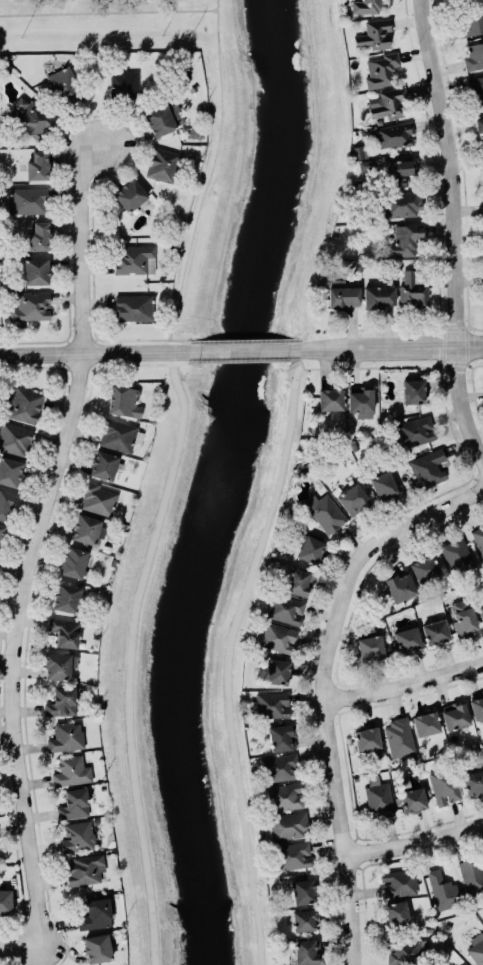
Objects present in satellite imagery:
building: (366, 6)
road: (108, 11)
building: (471, 21)
building: (373, 34)
building: (473, 54)
building: (380, 68)
building: (123, 83)
building: (64, 86)
building: (476, 89)
building: (388, 103)
building: (31, 118)
building: (163, 118)
building: (479, 127)
building: (394, 134)
building: (358, 150)
building: (482, 158)
building: (162, 163)
building: (36, 164)
building: (365, 164)
building: (398, 171)
road: (209, 177)
building: (131, 195)
building: (28, 199)
building: (402, 203)
road: (461, 221)
building: (38, 234)
building: (402, 239)
building: (135, 259)
building: (36, 270)
building: (412, 288)
building: (343, 296)
building: (378, 296)
building: (30, 305)
building: (134, 306)
road: (392, 347)
road: (244, 350)
road: (93, 352)
building: (413, 390)
building: (330, 398)
building: (125, 400)
building: (360, 401)
building: (23, 404)
building: (417, 430)
building: (119, 433)
building: (14, 437)
building: (103, 464)
building: (426, 469)
building: (10, 470)
river: (223, 481)
building: (382, 484)
building: (98, 497)
building: (352, 498)
building: (5, 503)
building: (325, 510)
building: (87, 529)
road: (37, 531)
building: (2, 532)
building: (479, 539)
building: (310, 548)
building: (457, 556)
building: (72, 561)
building: (439, 563)
building: (424, 567)
building: (297, 580)
building: (400, 587)
building: (66, 596)
building: (285, 607)
building: (481, 614)
building: (463, 617)
building: (64, 630)
building: (435, 631)
building: (278, 636)
building: (407, 639)
building: (370, 648)
building: (59, 666)
building: (276, 670)
road: (406, 683)
road: (328, 689)
building: (60, 701)
building: (269, 703)
building: (476, 707)
building: (455, 714)
building: (425, 722)
building: (399, 735)
building: (65, 736)
building: (282, 736)
building: (367, 740)
building: (482, 746)
building: (279, 766)
building: (71, 770)
building: (473, 781)
building: (444, 785)
building: (285, 795)
building: (410, 796)
building: (378, 797)
building: (73, 803)
building: (286, 825)
building: (78, 836)
road: (416, 839)
building: (293, 854)
building: (85, 869)
building: (472, 873)
building: (398, 882)
building: (442, 889)
building: (302, 890)
building: (5, 900)
building: (396, 912)
building: (96, 913)
building: (305, 919)
road: (20, 944)
building: (96, 947)
building: (475, 948)
building: (305, 950)
building: (405, 950)
building: (462, 964)

